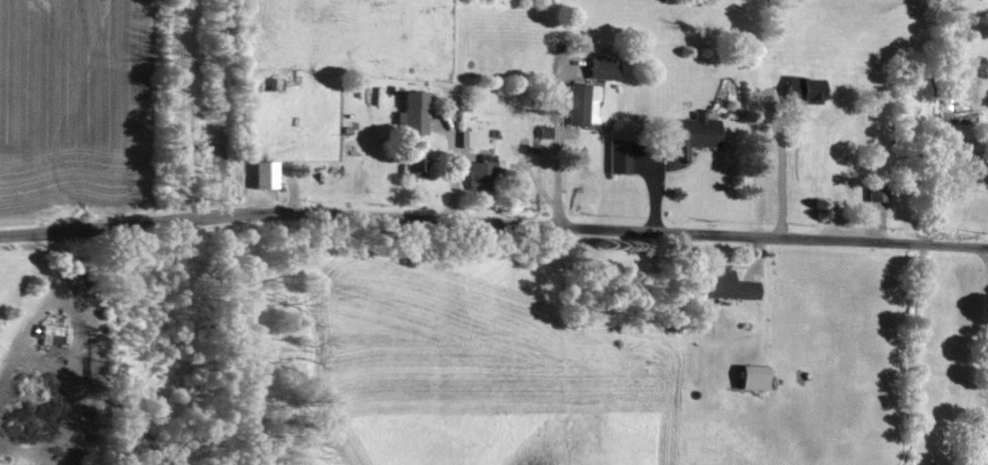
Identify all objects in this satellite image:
building: (604, 69)
building: (806, 89)
building: (583, 105)
building: (414, 113)
building: (695, 134)
road: (560, 151)
building: (620, 156)
building: (418, 164)
road: (780, 170)
building: (267, 174)
building: (482, 176)
building: (874, 193)
road: (493, 224)
building: (729, 285)
building: (55, 334)
road: (987, 354)
building: (755, 378)

